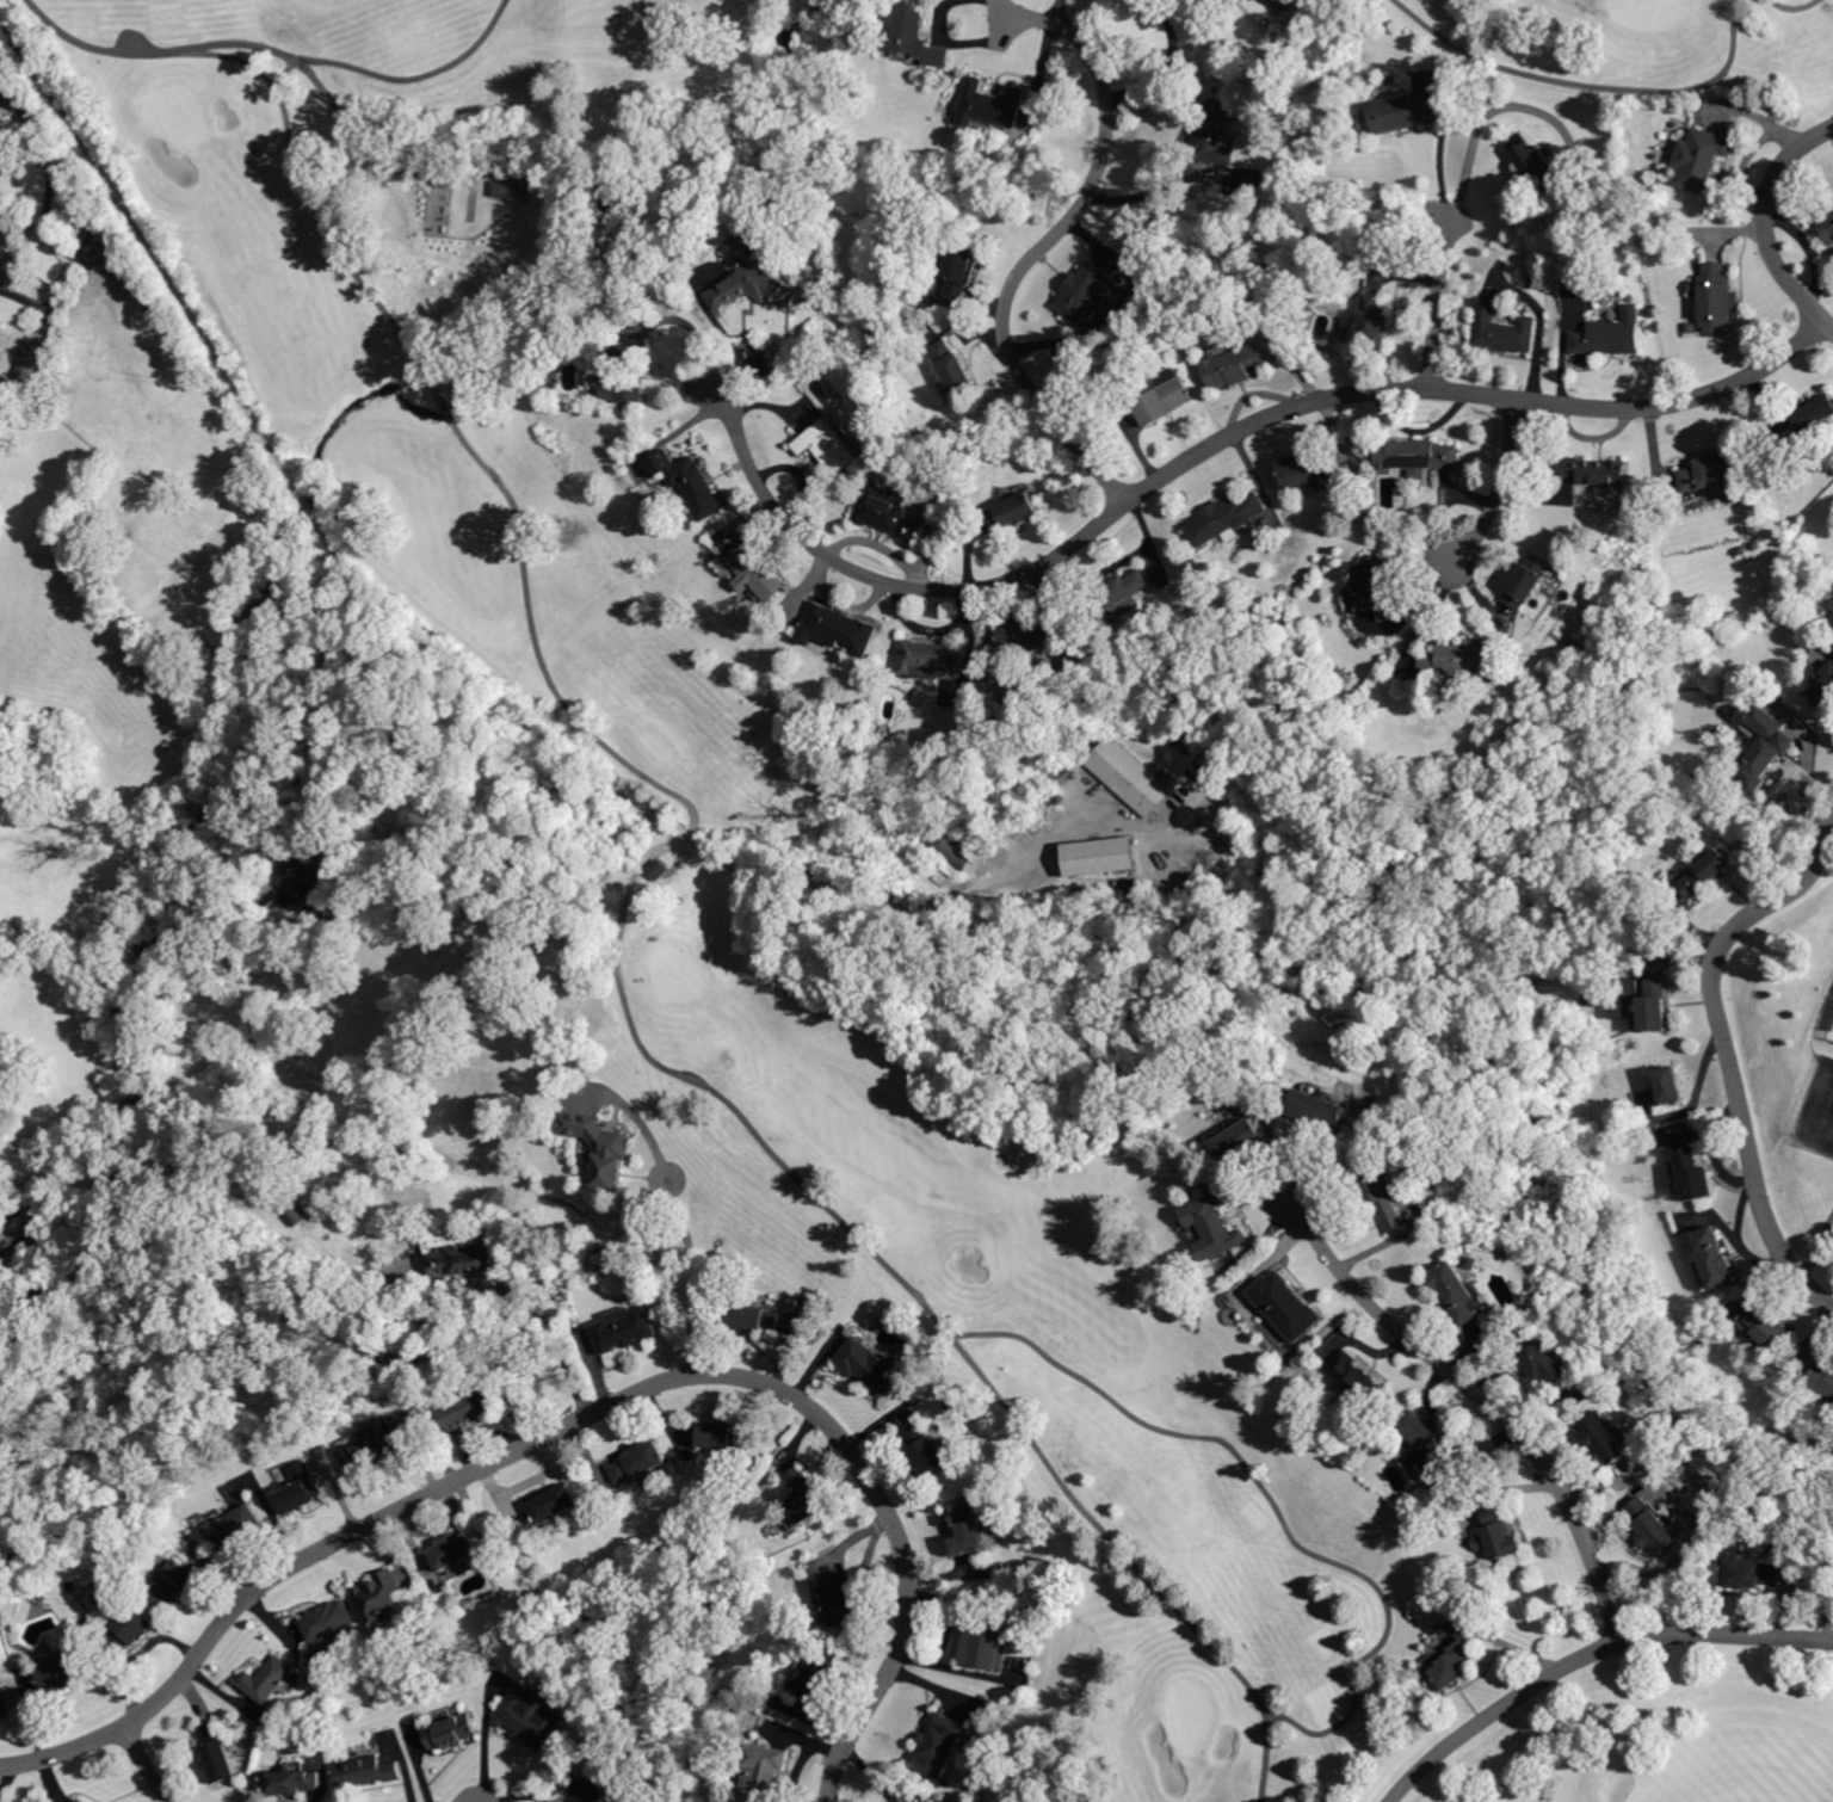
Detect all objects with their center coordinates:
road: (1794, 6)
road: (1056, 11)
building: (919, 36)
road: (95, 47)
road: (1164, 62)
road: (414, 75)
road: (1587, 85)
building: (990, 106)
building: (1402, 112)
building: (1215, 135)
road: (358, 140)
road: (1442, 149)
building: (1702, 160)
building: (1536, 161)
building: (508, 189)
road: (1144, 193)
road: (310, 202)
road: (1766, 224)
building: (1826, 226)
road: (1045, 246)
building: (109, 258)
building: (962, 270)
road: (70, 276)
building: (1124, 279)
building: (758, 285)
building: (1087, 291)
building: (1716, 300)
road: (1438, 304)
building: (1375, 319)
building: (1504, 328)
building: (1692, 328)
building: (1611, 334)
building: (1239, 365)
building: (27, 368)
building: (953, 368)
building: (629, 375)
building: (2, 379)
building: (1167, 396)
road: (446, 406)
building: (1812, 412)
road: (1222, 442)
building: (828, 449)
building: (1417, 456)
building: (1308, 468)
building: (1596, 470)
building: (1705, 473)
building: (689, 482)
road: (1501, 488)
road: (305, 501)
building: (890, 508)
building: (1012, 512)
building: (1224, 517)
building: (757, 573)
building: (1525, 581)
building: (1378, 585)
building: (1118, 598)
building: (837, 629)
building: (1027, 638)
road: (536, 648)
building: (1461, 660)
building: (928, 661)
building: (1822, 685)
road: (333, 704)
building: (1184, 739)
building: (1764, 745)
building: (1129, 776)
building: (1061, 801)
building: (463, 809)
park: (1064, 814)
building: (952, 850)
building: (1100, 857)
building: (656, 870)
building: (1707, 871)
building: (297, 885)
building: (1129, 890)
building: (1654, 1006)
building: (530, 1019)
road: (1729, 1057)
building: (1668, 1085)
road: (705, 1086)
building: (1320, 1109)
building: (1241, 1142)
building: (601, 1147)
building: (1693, 1174)
building: (1380, 1193)
building: (301, 1210)
building: (1212, 1227)
road: (692, 1247)
building: (458, 1253)
building: (1714, 1258)
building: (1455, 1292)
building: (1286, 1304)
building: (755, 1315)
building: (625, 1328)
building: (1765, 1328)
road: (561, 1346)
building: (1544, 1363)
building: (868, 1368)
road: (1070, 1371)
building: (1356, 1376)
building: (1822, 1377)
building: (473, 1405)
road: (1492, 1405)
road: (580, 1420)
building: (715, 1437)
building: (1603, 1437)
building: (1427, 1444)
building: (377, 1449)
building: (926, 1451)
building: (638, 1463)
building: (305, 1486)
building: (802, 1494)
building: (553, 1502)
building: (1652, 1526)
building: (967, 1528)
building: (234, 1529)
building: (1498, 1532)
building: (455, 1553)
building: (1753, 1573)
building: (173, 1582)
building: (381, 1596)
building: (837, 1599)
building: (327, 1619)
building: (131, 1629)
building: (987, 1644)
road: (1588, 1654)
building: (1454, 1664)
building: (63, 1672)
building: (820, 1672)
building: (267, 1678)
building: (6, 1701)
building: (531, 1716)
building: (452, 1730)
building: (940, 1745)
building: (216, 1751)
road: (1265, 1755)
road: (146, 1764)
building: (368, 1771)
building: (765, 1771)
building: (292, 1781)
building: (586, 1790)
building: (79, 1801)

